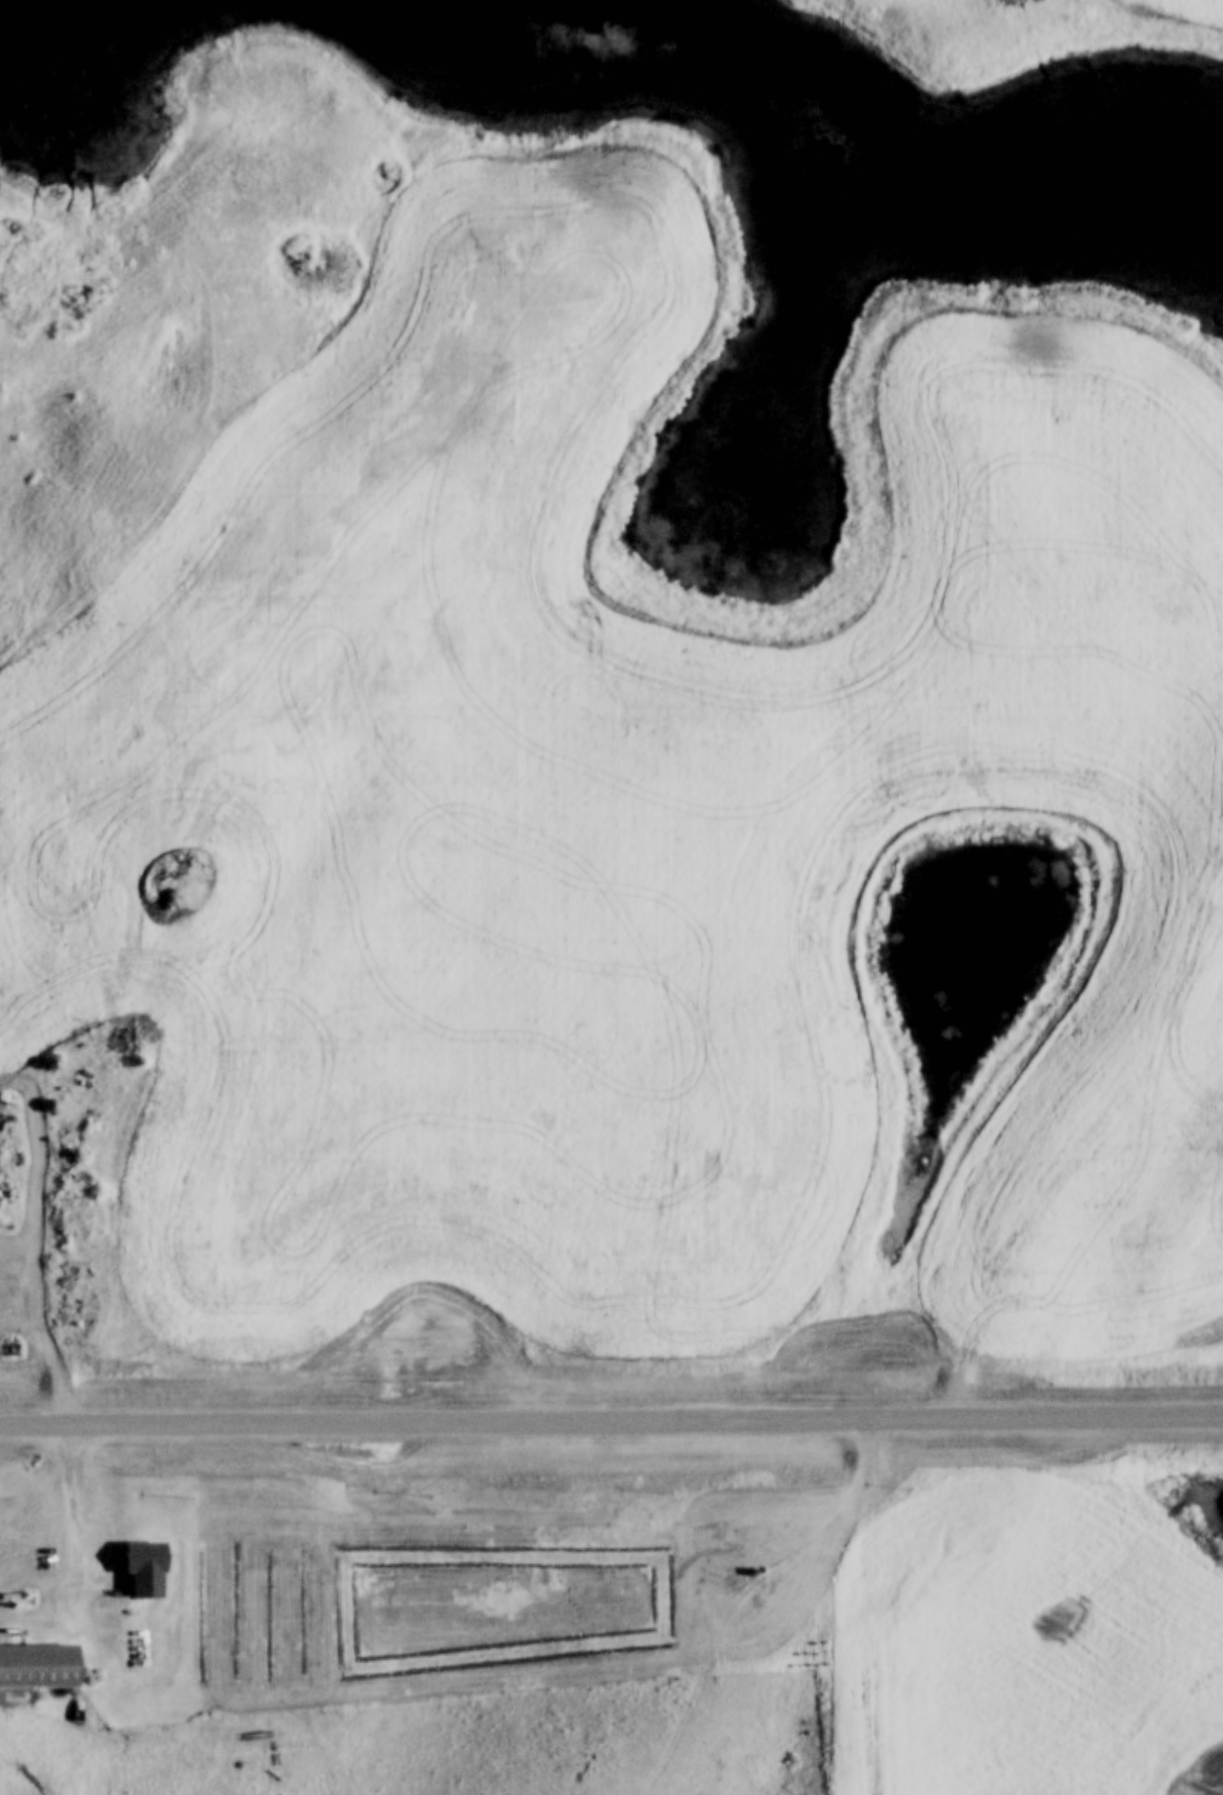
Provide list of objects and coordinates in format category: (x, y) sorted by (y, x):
road: (611, 1417)
road: (74, 1507)
building: (149, 1572)
building: (36, 1670)

